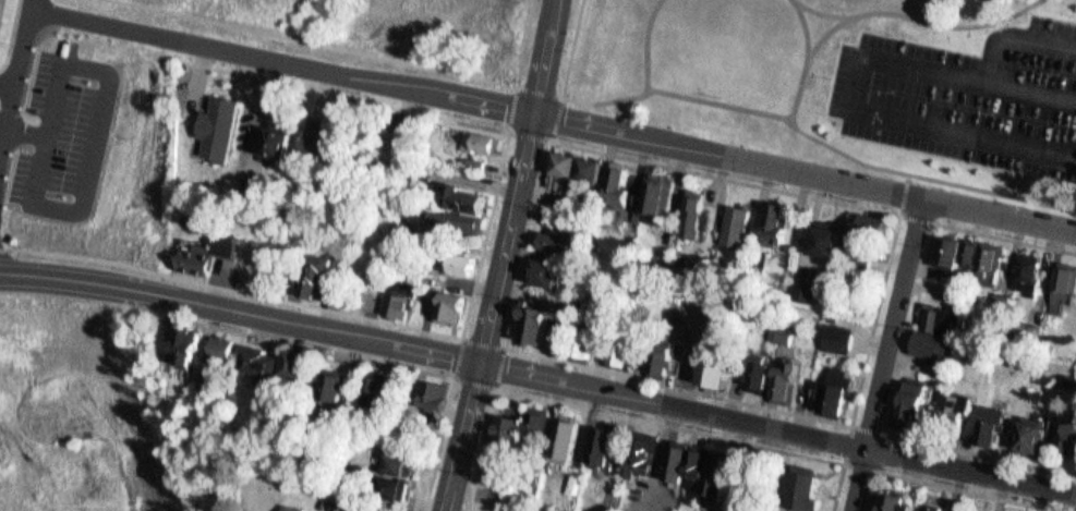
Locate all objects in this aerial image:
building: (0, 2)
road: (919, 20)
road: (1014, 26)
road: (831, 32)
road: (314, 42)
road: (527, 42)
road: (651, 42)
road: (549, 45)
road: (811, 58)
road: (282, 60)
park: (723, 61)
road: (17, 75)
road: (858, 83)
parking lot: (968, 88)
road: (537, 101)
road: (516, 106)
road: (777, 112)
road: (558, 117)
building: (214, 123)
road: (3, 129)
parking lot: (65, 133)
building: (268, 137)
building: (475, 137)
building: (312, 141)
building: (389, 143)
building: (279, 144)
building: (560, 157)
building: (587, 162)
building: (568, 169)
building: (595, 171)
road: (805, 173)
building: (614, 175)
building: (652, 188)
building: (456, 194)
building: (661, 196)
building: (691, 205)
road: (899, 205)
building: (773, 217)
building: (735, 219)
building: (874, 219)
building: (821, 229)
building: (556, 233)
building: (944, 244)
building: (207, 247)
building: (967, 247)
building: (865, 254)
building: (457, 257)
building: (986, 259)
building: (312, 268)
building: (544, 269)
building: (1024, 269)
building: (325, 272)
building: (1061, 281)
building: (802, 282)
building: (397, 293)
building: (446, 301)
building: (402, 303)
road: (475, 303)
building: (456, 307)
road: (494, 312)
building: (533, 319)
building: (928, 324)
building: (785, 330)
building: (837, 330)
building: (584, 338)
building: (221, 341)
building: (185, 342)
building: (200, 343)
road: (903, 343)
building: (234, 344)
road: (513, 350)
building: (628, 353)
road: (888, 355)
building: (658, 356)
building: (261, 357)
building: (670, 357)
building: (293, 360)
road: (392, 362)
building: (307, 365)
building: (723, 365)
building: (758, 367)
road: (539, 374)
building: (766, 374)
building: (207, 378)
building: (794, 380)
building: (218, 381)
building: (335, 381)
building: (374, 381)
building: (782, 382)
road: (499, 385)
building: (347, 387)
building: (432, 388)
building: (832, 392)
building: (954, 396)
building: (908, 399)
building: (920, 401)
building: (959, 405)
road: (634, 415)
building: (990, 418)
building: (519, 422)
building: (542, 426)
building: (1027, 429)
building: (1066, 429)
building: (561, 434)
building: (1038, 436)
building: (572, 438)
building: (601, 438)
building: (644, 445)
building: (398, 454)
building: (675, 455)
building: (694, 459)
building: (411, 462)
road: (881, 471)
building: (501, 473)
building: (713, 473)
building: (391, 482)
building: (802, 483)
road: (953, 487)
building: (892, 499)
building: (931, 503)
building: (297, 506)
building: (312, 507)
building: (968, 508)
building: (1011, 509)

